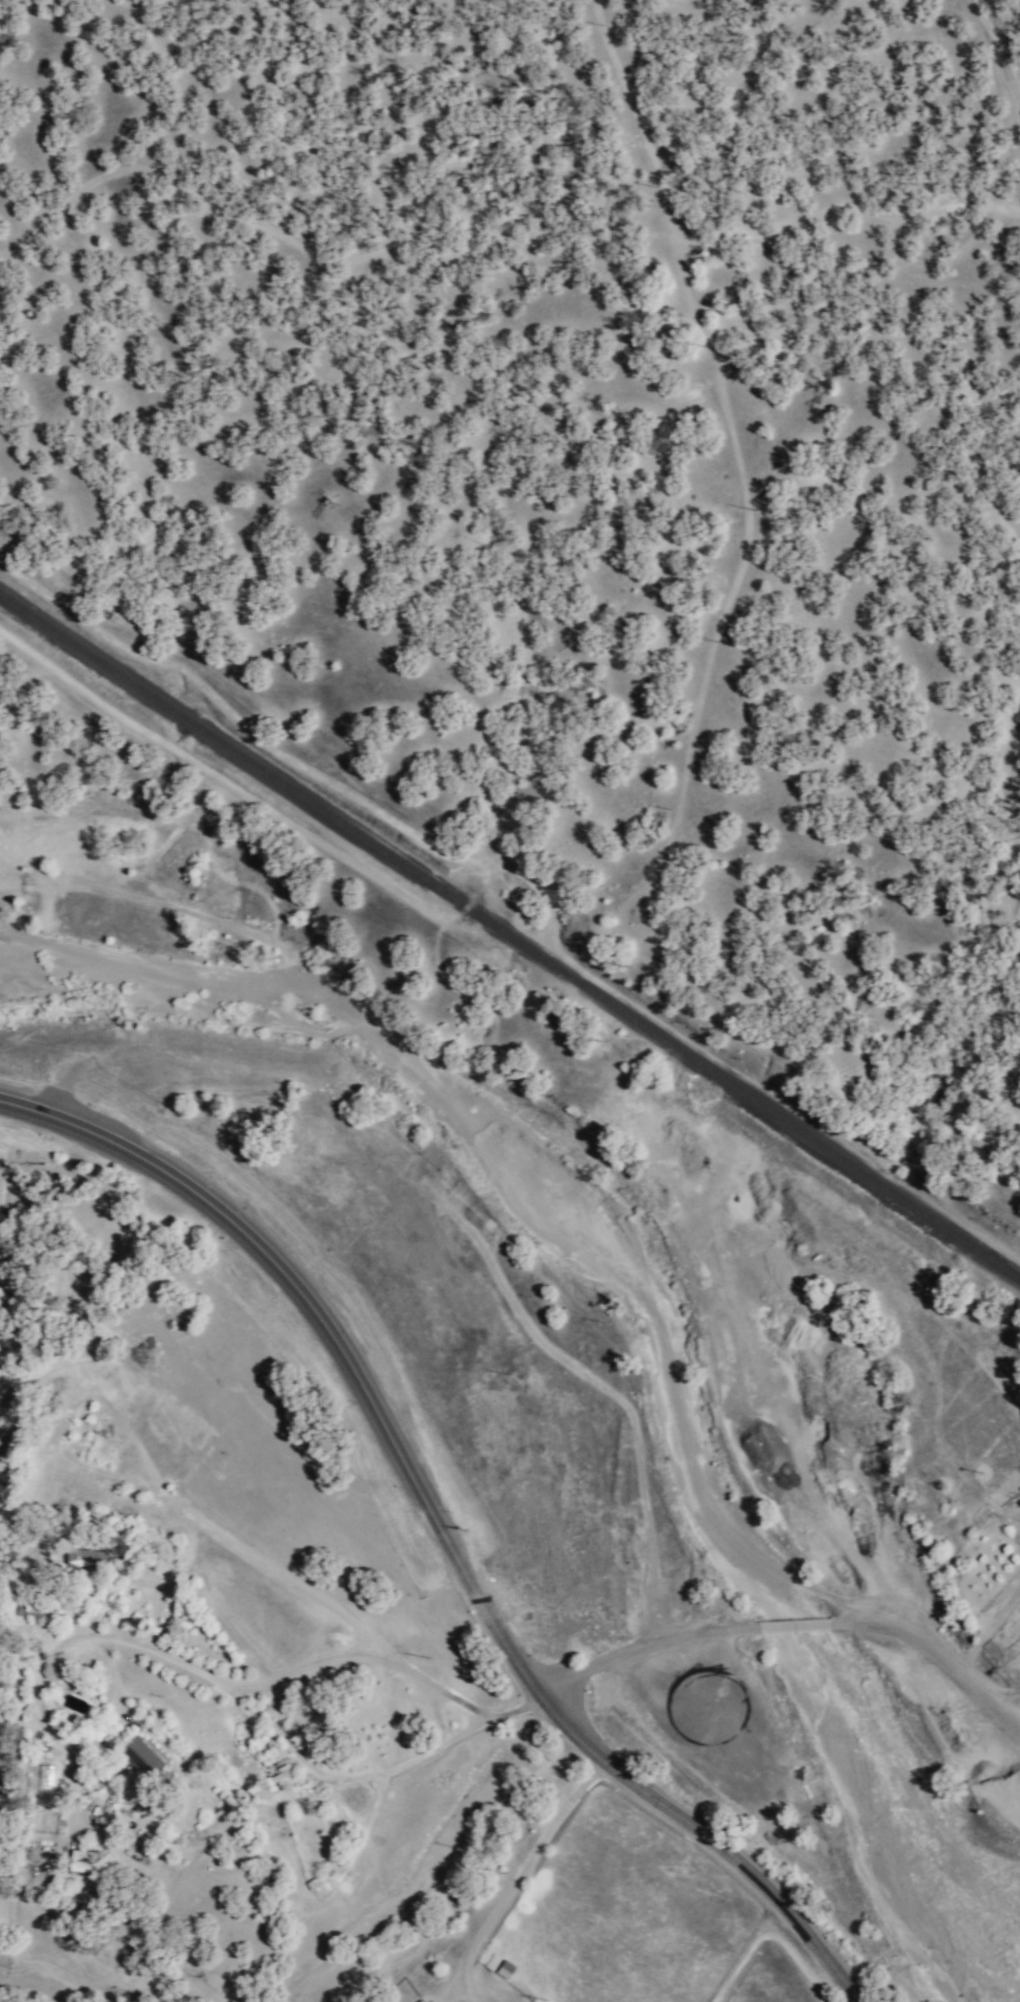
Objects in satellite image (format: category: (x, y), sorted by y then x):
railway: (510, 936)
river: (511, 1142)
road: (437, 1532)
building: (87, 1559)
river: (779, 1626)
building: (145, 1758)
river: (882, 1816)
building: (82, 1862)
road: (517, 1877)
building: (506, 1970)
building: (426, 2001)

